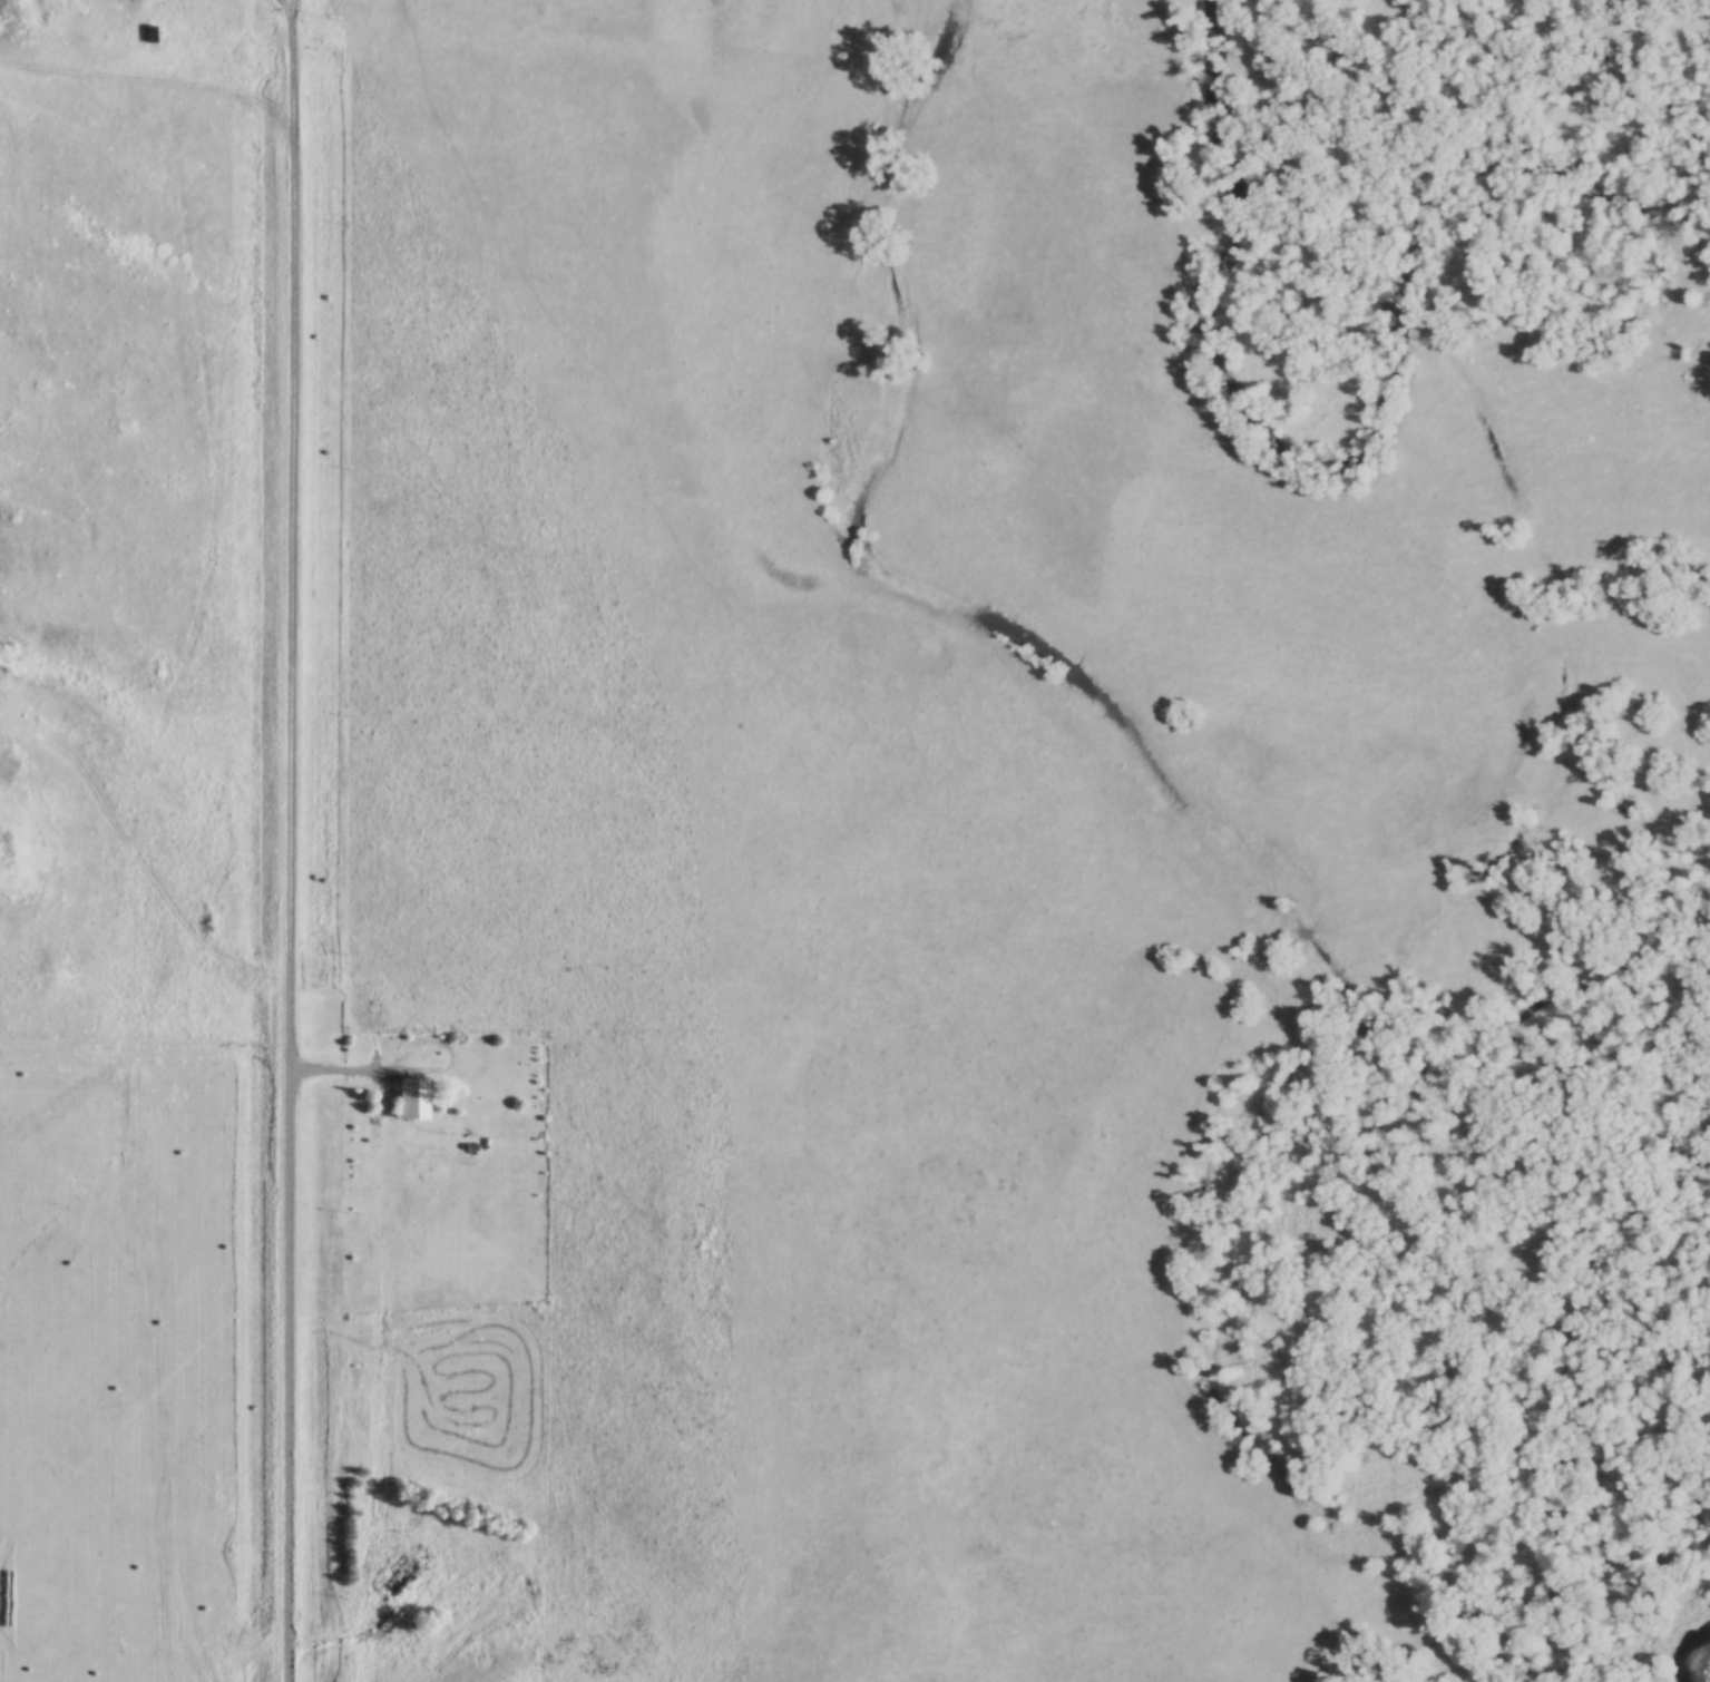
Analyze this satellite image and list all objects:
building: (148, 36)
road: (345, 852)
building: (409, 1098)
building: (395, 1577)
river: (1664, 1649)

